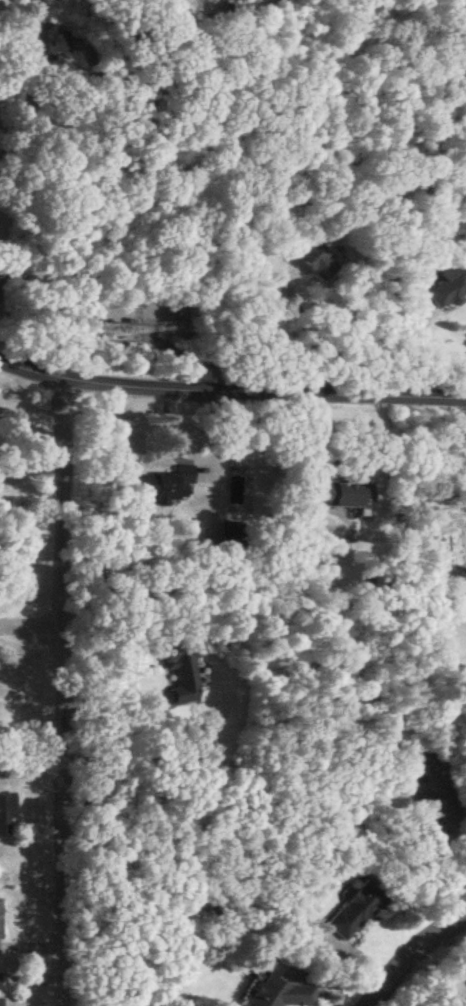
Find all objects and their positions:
building: (234, 18)
building: (49, 43)
road: (108, 65)
road: (100, 179)
building: (314, 262)
building: (445, 287)
road: (309, 328)
road: (231, 389)
building: (165, 486)
building: (345, 496)
building: (180, 674)
road: (64, 694)
road: (107, 756)
building: (433, 796)
building: (6, 816)
road: (443, 871)
building: (355, 912)
building: (0, 929)
road: (413, 957)
building: (0, 990)
building: (281, 993)

